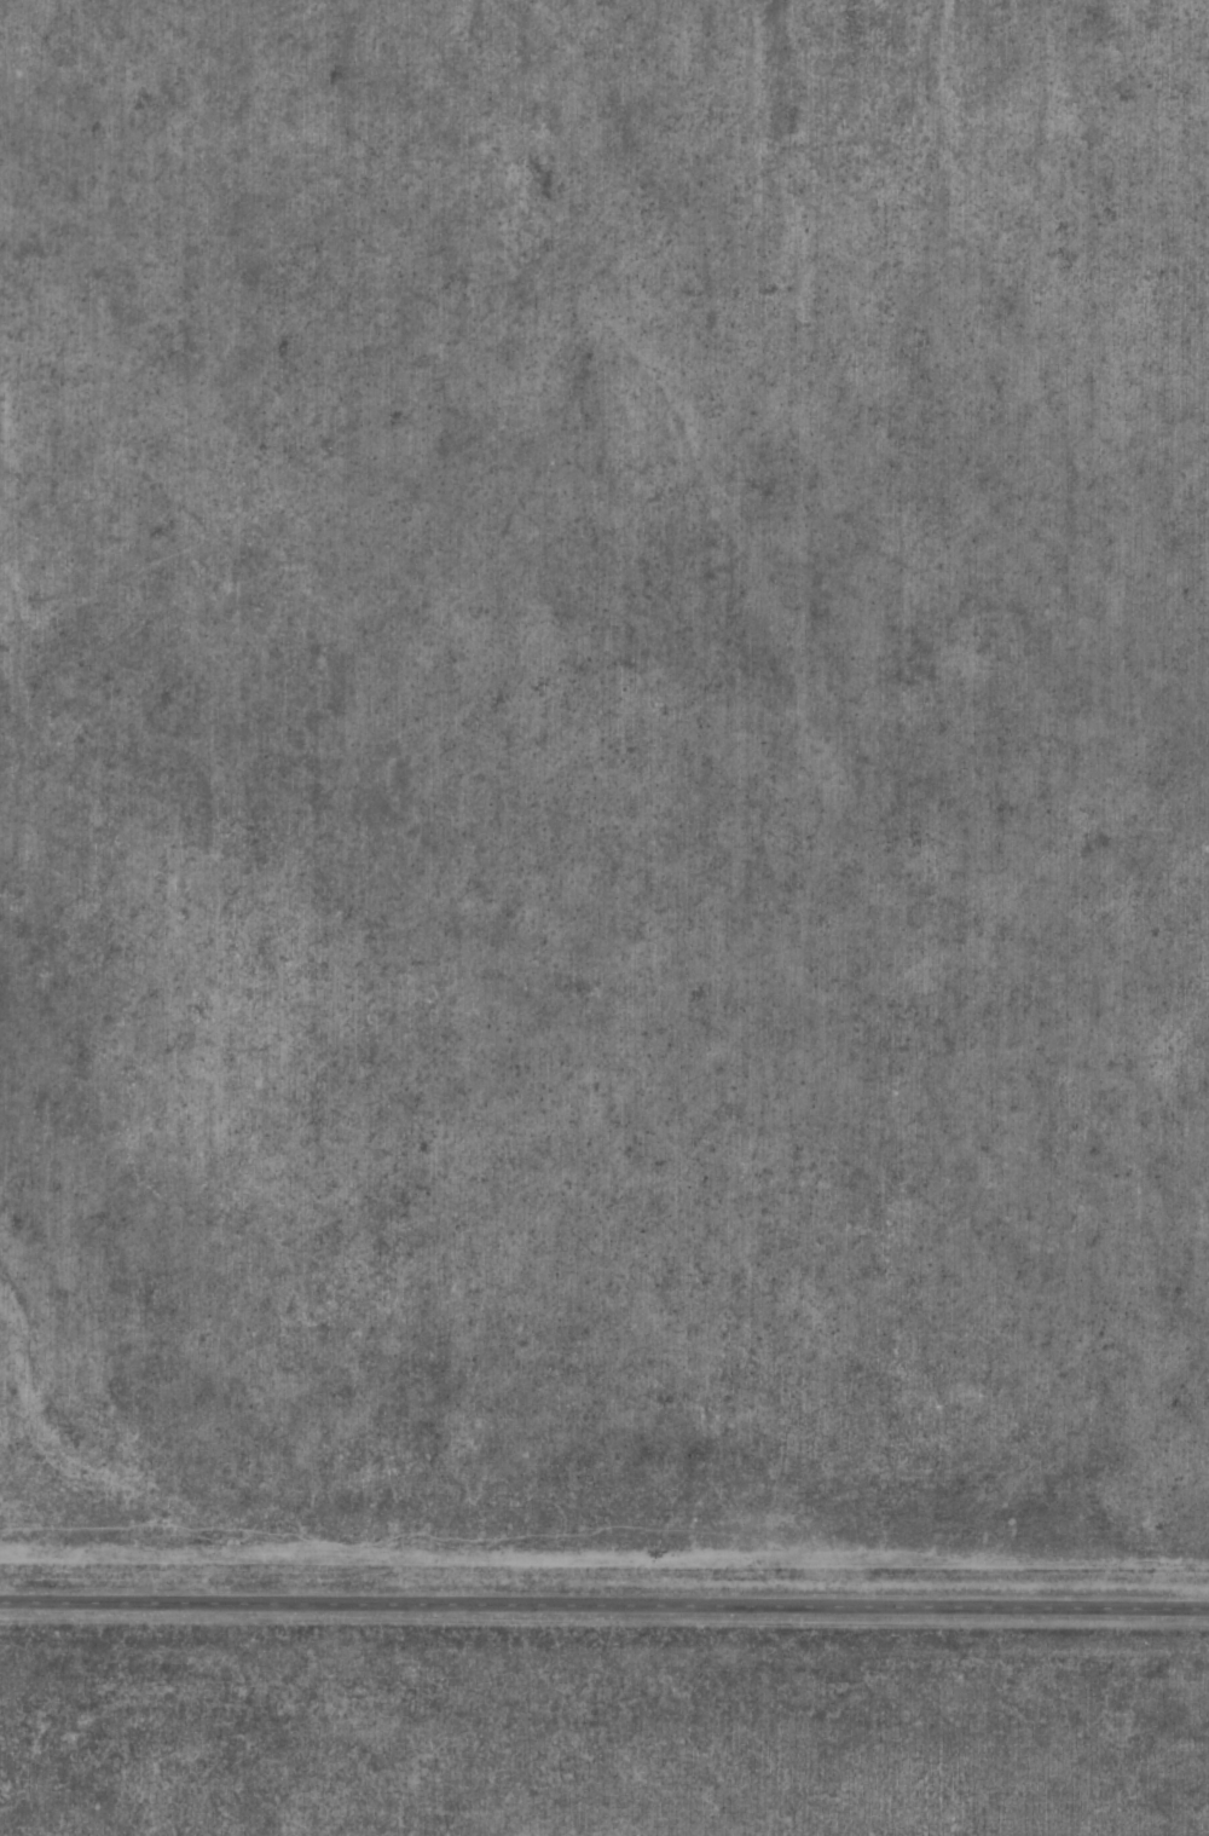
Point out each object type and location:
road: (604, 1607)

